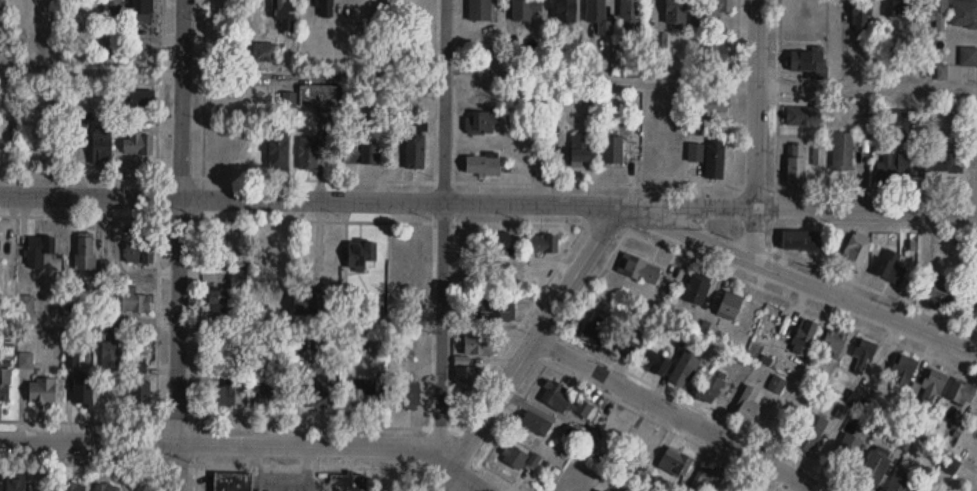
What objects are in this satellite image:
building: (0, 6)
building: (718, 7)
building: (324, 8)
building: (899, 8)
building: (142, 9)
building: (480, 10)
building: (525, 10)
building: (113, 11)
building: (565, 11)
building: (675, 13)
building: (630, 14)
building: (937, 14)
building: (964, 14)
building: (286, 16)
building: (597, 18)
building: (860, 20)
building: (658, 41)
building: (264, 53)
building: (711, 57)
building: (968, 57)
building: (806, 59)
road: (91, 70)
road: (314, 76)
road: (600, 81)
road: (866, 86)
road: (776, 92)
building: (321, 94)
building: (138, 100)
building: (711, 104)
building: (325, 115)
building: (803, 116)
building: (899, 118)
building: (481, 123)
road: (755, 130)
building: (138, 142)
building: (101, 148)
building: (278, 150)
building: (360, 150)
building: (580, 150)
building: (613, 150)
building: (414, 151)
building: (696, 152)
building: (843, 152)
building: (308, 153)
building: (715, 157)
building: (796, 162)
building: (481, 165)
building: (893, 168)
building: (943, 173)
road: (488, 201)
road: (199, 210)
road: (774, 212)
road: (541, 222)
road: (441, 223)
building: (802, 240)
building: (500, 242)
building: (543, 242)
road: (178, 245)
building: (39, 250)
building: (270, 250)
road: (674, 250)
building: (856, 250)
building: (139, 251)
building: (409, 253)
building: (85, 254)
building: (361, 254)
building: (891, 265)
building: (640, 269)
building: (239, 277)
road: (799, 278)
building: (670, 287)
building: (696, 290)
building: (942, 293)
building: (302, 299)
building: (134, 300)
building: (221, 303)
building: (375, 306)
building: (729, 306)
building: (500, 311)
building: (975, 315)
road: (88, 318)
building: (708, 329)
building: (597, 332)
building: (804, 336)
building: (834, 341)
building: (376, 344)
building: (480, 344)
road: (528, 348)
building: (630, 349)
building: (864, 353)
building: (110, 355)
building: (653, 361)
building: (139, 369)
building: (904, 369)
building: (684, 370)
building: (467, 377)
building: (5, 384)
building: (777, 384)
building: (931, 386)
building: (42, 390)
building: (84, 390)
building: (961, 393)
building: (141, 394)
building: (317, 394)
building: (365, 394)
building: (222, 395)
building: (407, 395)
building: (556, 395)
building: (273, 398)
building: (748, 405)
building: (584, 409)
road: (677, 414)
road: (97, 420)
building: (537, 425)
building: (809, 434)
road: (252, 443)
building: (967, 451)
building: (845, 454)
building: (514, 457)
building: (534, 460)
building: (675, 462)
building: (707, 480)
building: (232, 481)
building: (901, 481)
building: (348, 482)
building: (577, 484)
building: (15, 485)
building: (74, 487)
building: (107, 487)
building: (598, 490)

